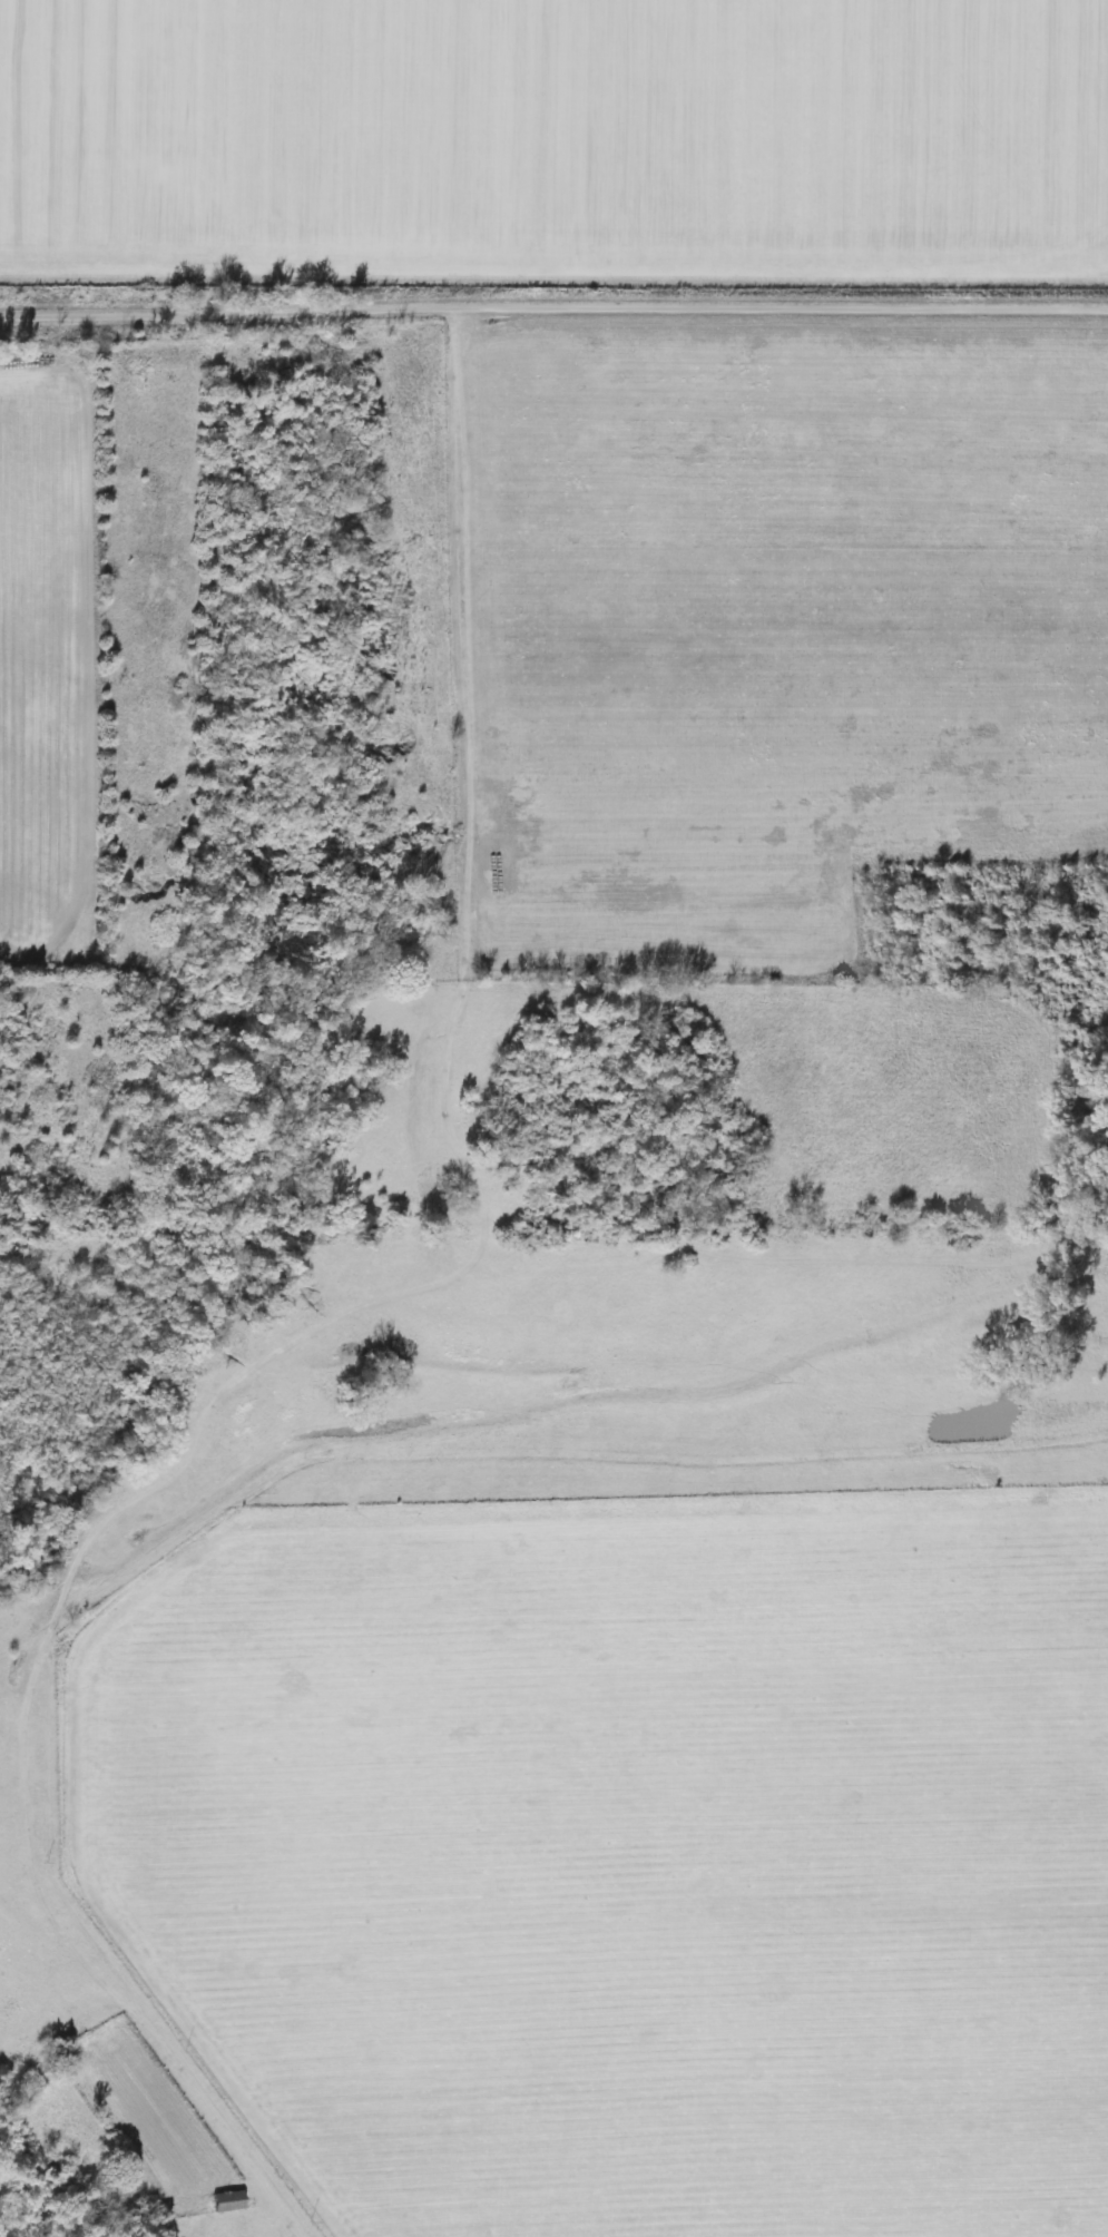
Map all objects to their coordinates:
road: (553, 311)
road: (374, 1030)
road: (136, 1994)

